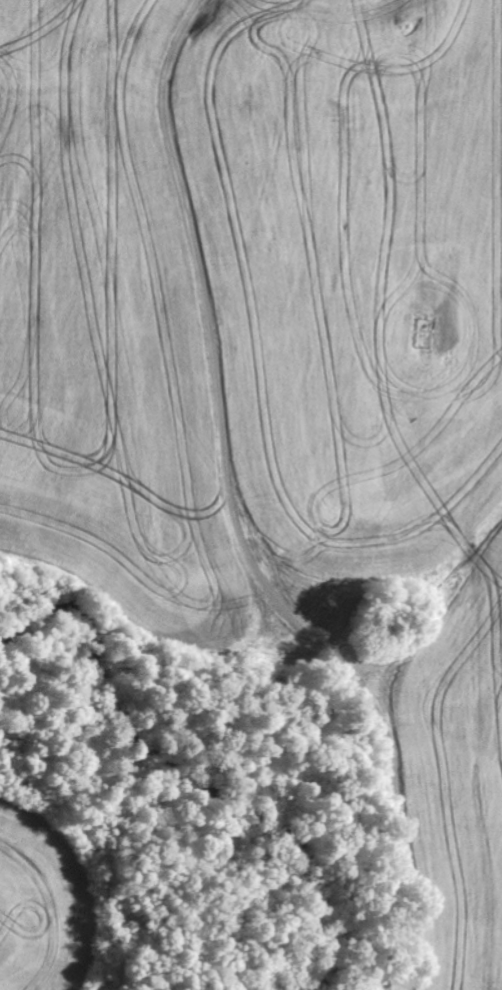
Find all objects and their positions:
road: (74, 84)
park: (425, 332)
road: (246, 557)

